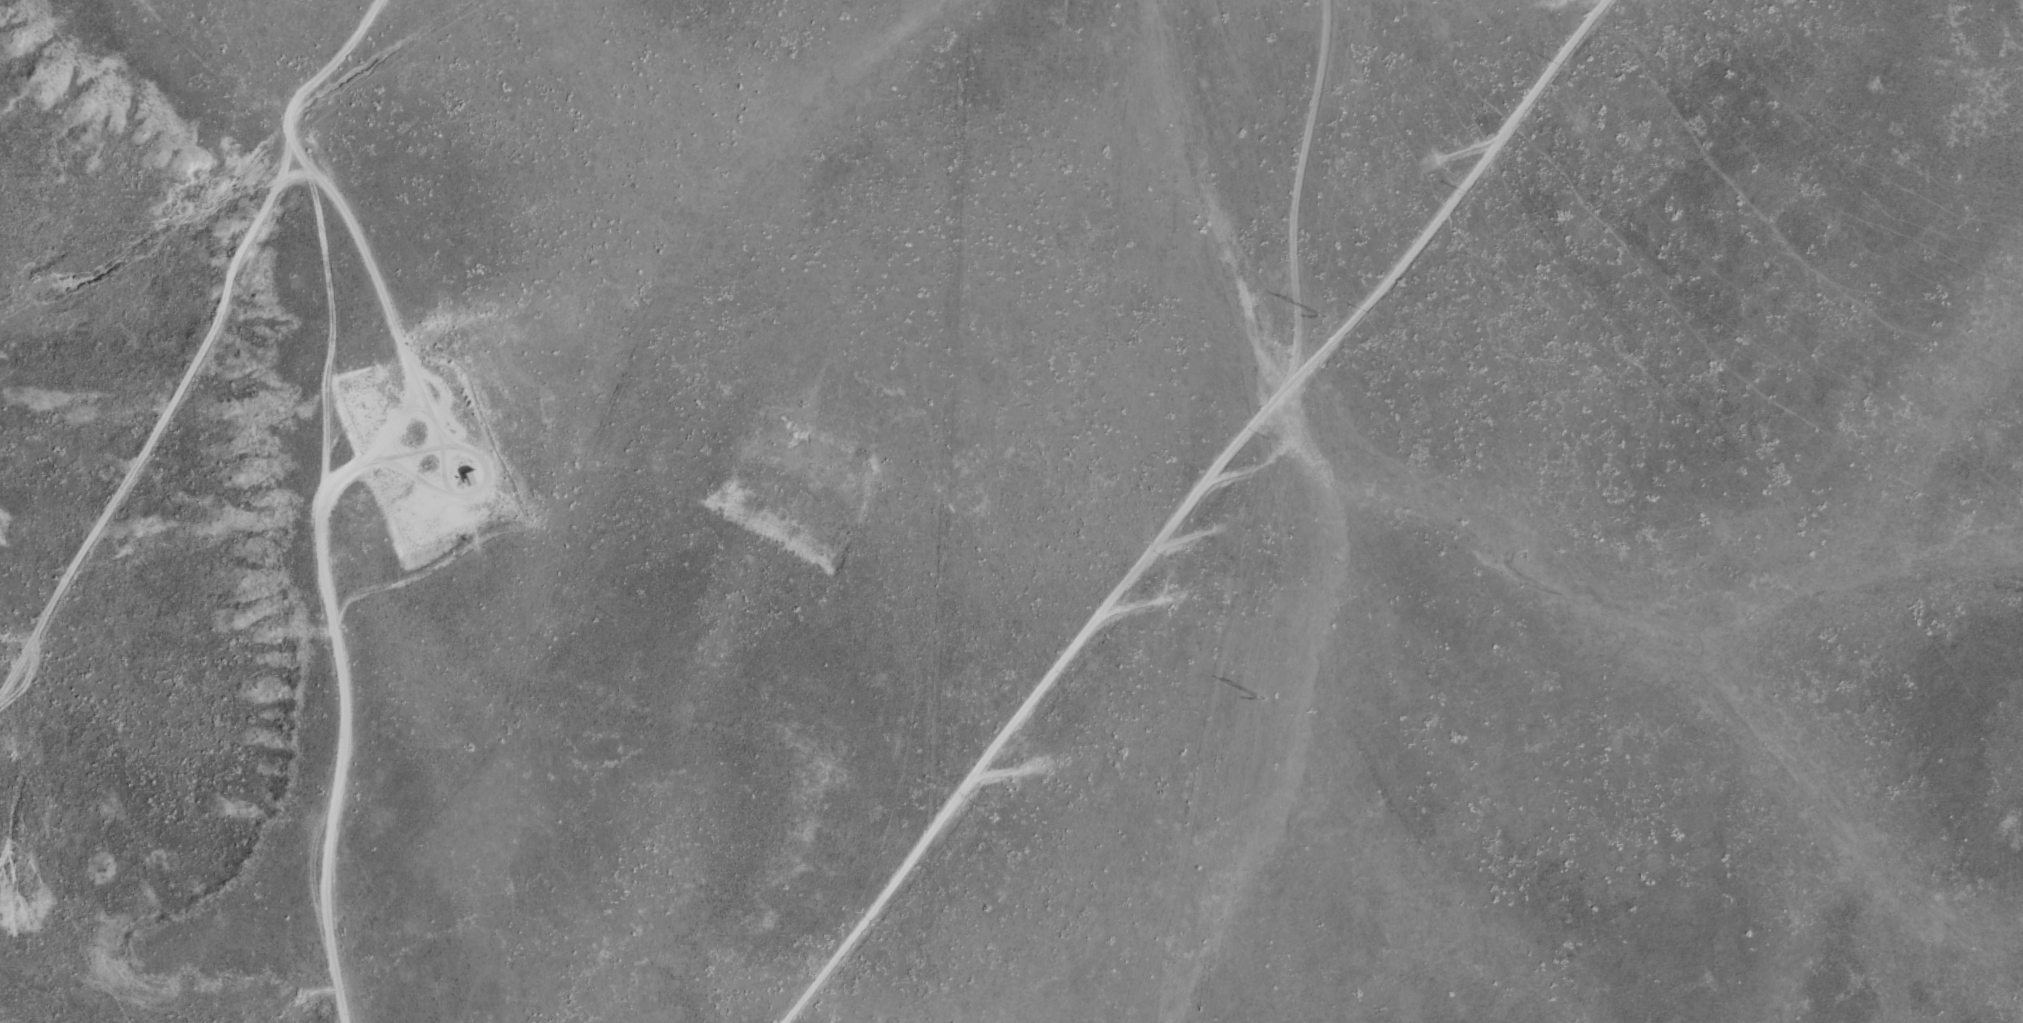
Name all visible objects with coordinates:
power tower: (1320, 317)
road: (1174, 511)
power tower: (1259, 697)

